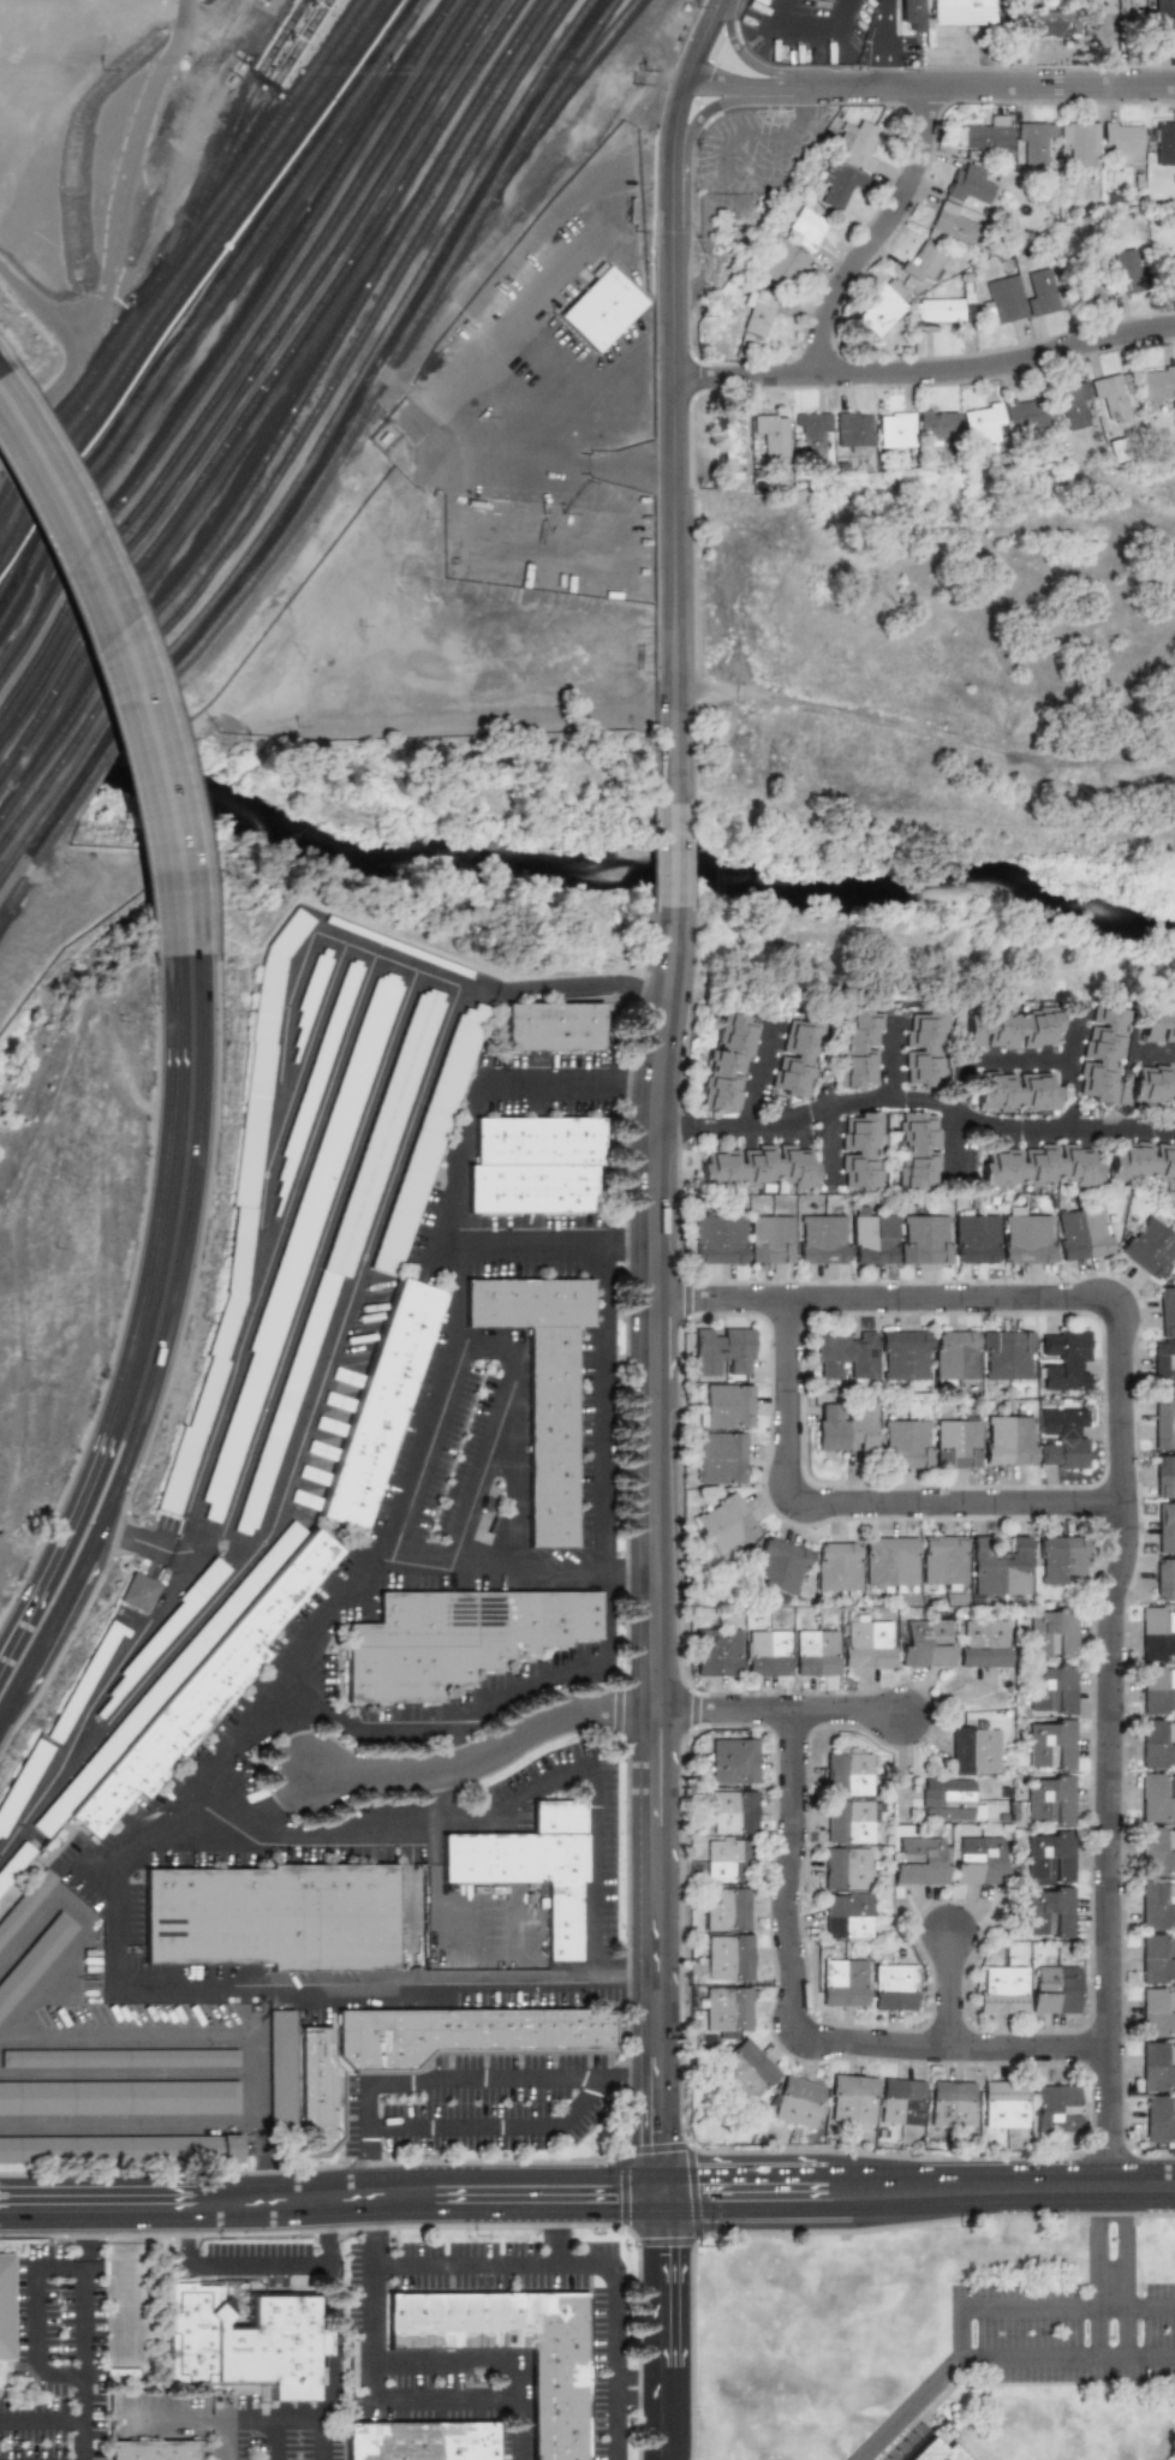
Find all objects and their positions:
building: (1163, 8)
building: (962, 12)
building: (911, 13)
building: (1050, 24)
road: (803, 34)
building: (1170, 34)
road: (706, 38)
road: (199, 84)
road: (932, 87)
railway: (267, 99)
railway: (542, 111)
road: (801, 111)
building: (990, 133)
road: (727, 137)
building: (1123, 141)
building: (1080, 142)
building: (1034, 143)
building: (1165, 143)
building: (858, 145)
railway: (225, 154)
road: (767, 178)
building: (840, 183)
building: (968, 184)
road: (697, 199)
road: (729, 210)
building: (717, 222)
building: (956, 225)
building: (806, 228)
road: (882, 233)
road: (120, 238)
railway: (177, 256)
building: (781, 261)
building: (924, 263)
railway: (184, 268)
building: (1126, 272)
building: (1169, 272)
railway: (190, 280)
building: (1090, 280)
railway: (197, 292)
building: (1040, 293)
building: (1004, 298)
road: (42, 309)
railway: (208, 309)
building: (882, 309)
building: (602, 310)
building: (938, 312)
building: (758, 316)
road: (442, 330)
railway: (231, 346)
road: (6, 353)
railway: (241, 361)
road: (926, 371)
railway: (252, 375)
building: (1156, 382)
railway: (264, 389)
building: (1113, 398)
building: (1074, 405)
building: (1026, 412)
railway: (290, 422)
building: (982, 422)
building: (937, 427)
building: (812, 428)
building: (896, 429)
building: (853, 431)
building: (773, 435)
building: (730, 436)
railway: (302, 437)
road: (674, 440)
railway: (316, 454)
railway: (329, 469)
railway: (23, 553)
road: (150, 639)
park: (955, 665)
road: (126, 666)
road: (924, 733)
river: (55, 749)
road: (657, 788)
river: (640, 856)
road: (657, 856)
road: (673, 857)
railway: (5, 916)
building: (398, 947)
road: (563, 987)
building: (310, 995)
building: (1157, 1025)
building: (551, 1026)
building: (1010, 1028)
building: (857, 1047)
building: (921, 1047)
road: (1153, 1048)
building: (1102, 1053)
building: (795, 1056)
road: (1050, 1060)
building: (728, 1062)
building: (317, 1073)
road: (549, 1076)
road: (639, 1076)
building: (1153, 1085)
building: (1016, 1091)
road: (925, 1104)
road: (816, 1112)
road: (1042, 1125)
road: (1121, 1125)
building: (429, 1139)
road: (955, 1144)
building: (861, 1150)
building: (919, 1151)
building: (1141, 1162)
building: (532, 1166)
building: (1039, 1166)
building: (757, 1167)
road: (455, 1168)
road: (270, 1171)
road: (181, 1186)
building: (240, 1214)
building: (1086, 1233)
building: (872, 1237)
building: (977, 1237)
building: (300, 1238)
building: (718, 1238)
building: (1028, 1238)
building: (771, 1239)
building: (822, 1239)
building: (926, 1239)
building: (345, 1240)
building: (1150, 1246)
road: (628, 1257)
road: (517, 1258)
road: (453, 1297)
road: (348, 1300)
building: (1167, 1310)
road: (487, 1341)
building: (722, 1350)
building: (843, 1353)
building: (903, 1354)
building: (955, 1356)
building: (1007, 1356)
building: (1066, 1360)
building: (1164, 1364)
road: (173, 1368)
building: (541, 1387)
building: (381, 1402)
building: (726, 1406)
road: (600, 1416)
building: (1163, 1424)
building: (843, 1428)
building: (1062, 1437)
building: (1007, 1440)
building: (906, 1442)
building: (956, 1442)
road: (418, 1451)
road: (513, 1458)
building: (720, 1458)
building: (1163, 1475)
road: (859, 1501)
road: (1120, 1518)
building: (724, 1523)
building: (1164, 1527)
road: (64, 1535)
road: (147, 1543)
road: (655, 1551)
building: (1058, 1560)
building: (889, 1562)
building: (941, 1562)
building: (780, 1567)
building: (837, 1567)
building: (996, 1568)
road: (79, 1569)
road: (517, 1573)
building: (1162, 1579)
building: (138, 1592)
road: (103, 1607)
building: (168, 1627)
building: (1046, 1632)
building: (1156, 1633)
building: (454, 1638)
building: (864, 1642)
building: (923, 1643)
building: (977, 1643)
building: (716, 1651)
building: (767, 1652)
building: (815, 1652)
building: (172, 1674)
building: (84, 1682)
building: (1048, 1688)
building: (1156, 1690)
building: (199, 1692)
road: (269, 1693)
road: (93, 1704)
road: (777, 1708)
road: (487, 1711)
building: (1156, 1743)
building: (1048, 1744)
building: (970, 1749)
building: (734, 1761)
road: (445, 1773)
building: (847, 1774)
building: (22, 1781)
road: (371, 1792)
building: (1156, 1797)
building: (946, 1799)
building: (1049, 1800)
building: (730, 1812)
building: (847, 1821)
road: (383, 1830)
building: (1157, 1850)
building: (1052, 1856)
building: (919, 1859)
building: (977, 1859)
building: (726, 1860)
building: (14, 1863)
building: (526, 1868)
building: (845, 1868)
road: (123, 1869)
road: (595, 1872)
building: (23, 1899)
road: (439, 1900)
building: (1157, 1904)
building: (726, 1908)
road: (78, 1910)
building: (1048, 1912)
building: (28, 1913)
building: (272, 1917)
building: (846, 1917)
road: (31, 1930)
road: (114, 1934)
building: (31, 1956)
building: (728, 1956)
building: (1157, 1958)
building: (38, 1968)
building: (843, 1982)
road: (643, 1983)
road: (370, 1984)
road: (50, 1987)
building: (894, 1988)
road: (948, 1988)
building: (1054, 1989)
building: (1001, 1990)
building: (726, 2009)
building: (1157, 2012)
road: (799, 2024)
road: (133, 2030)
building: (469, 2037)
building: (119, 2063)
building: (1157, 2066)
building: (279, 2067)
building: (745, 2069)
road: (455, 2079)
building: (323, 2095)
building: (852, 2098)
building: (900, 2101)
building: (799, 2102)
building: (950, 2103)
building: (119, 2104)
building: (1004, 2105)
building: (1054, 2108)
road: (257, 2115)
building: (1159, 2119)
road: (496, 2130)
building: (120, 2157)
road: (587, 2196)
traffic signals: (663, 2196)
road: (430, 2226)
road: (559, 2230)
road: (258, 2265)
road: (592, 2265)
road: (1097, 2269)
road: (1123, 2270)
building: (6, 2304)
road: (37, 2311)
road: (663, 2327)
road: (84, 2330)
road: (960, 2333)
building: (245, 2337)
road: (464, 2359)
road: (332, 2377)
road: (642, 2388)
road: (376, 2395)
road: (912, 2405)
building: (562, 2406)
road: (42, 2420)
road: (241, 2420)
road: (225, 2440)
road: (272, 2440)
building: (424, 2441)
building: (153, 2449)
building: (938, 2452)
road: (779, 2459)

